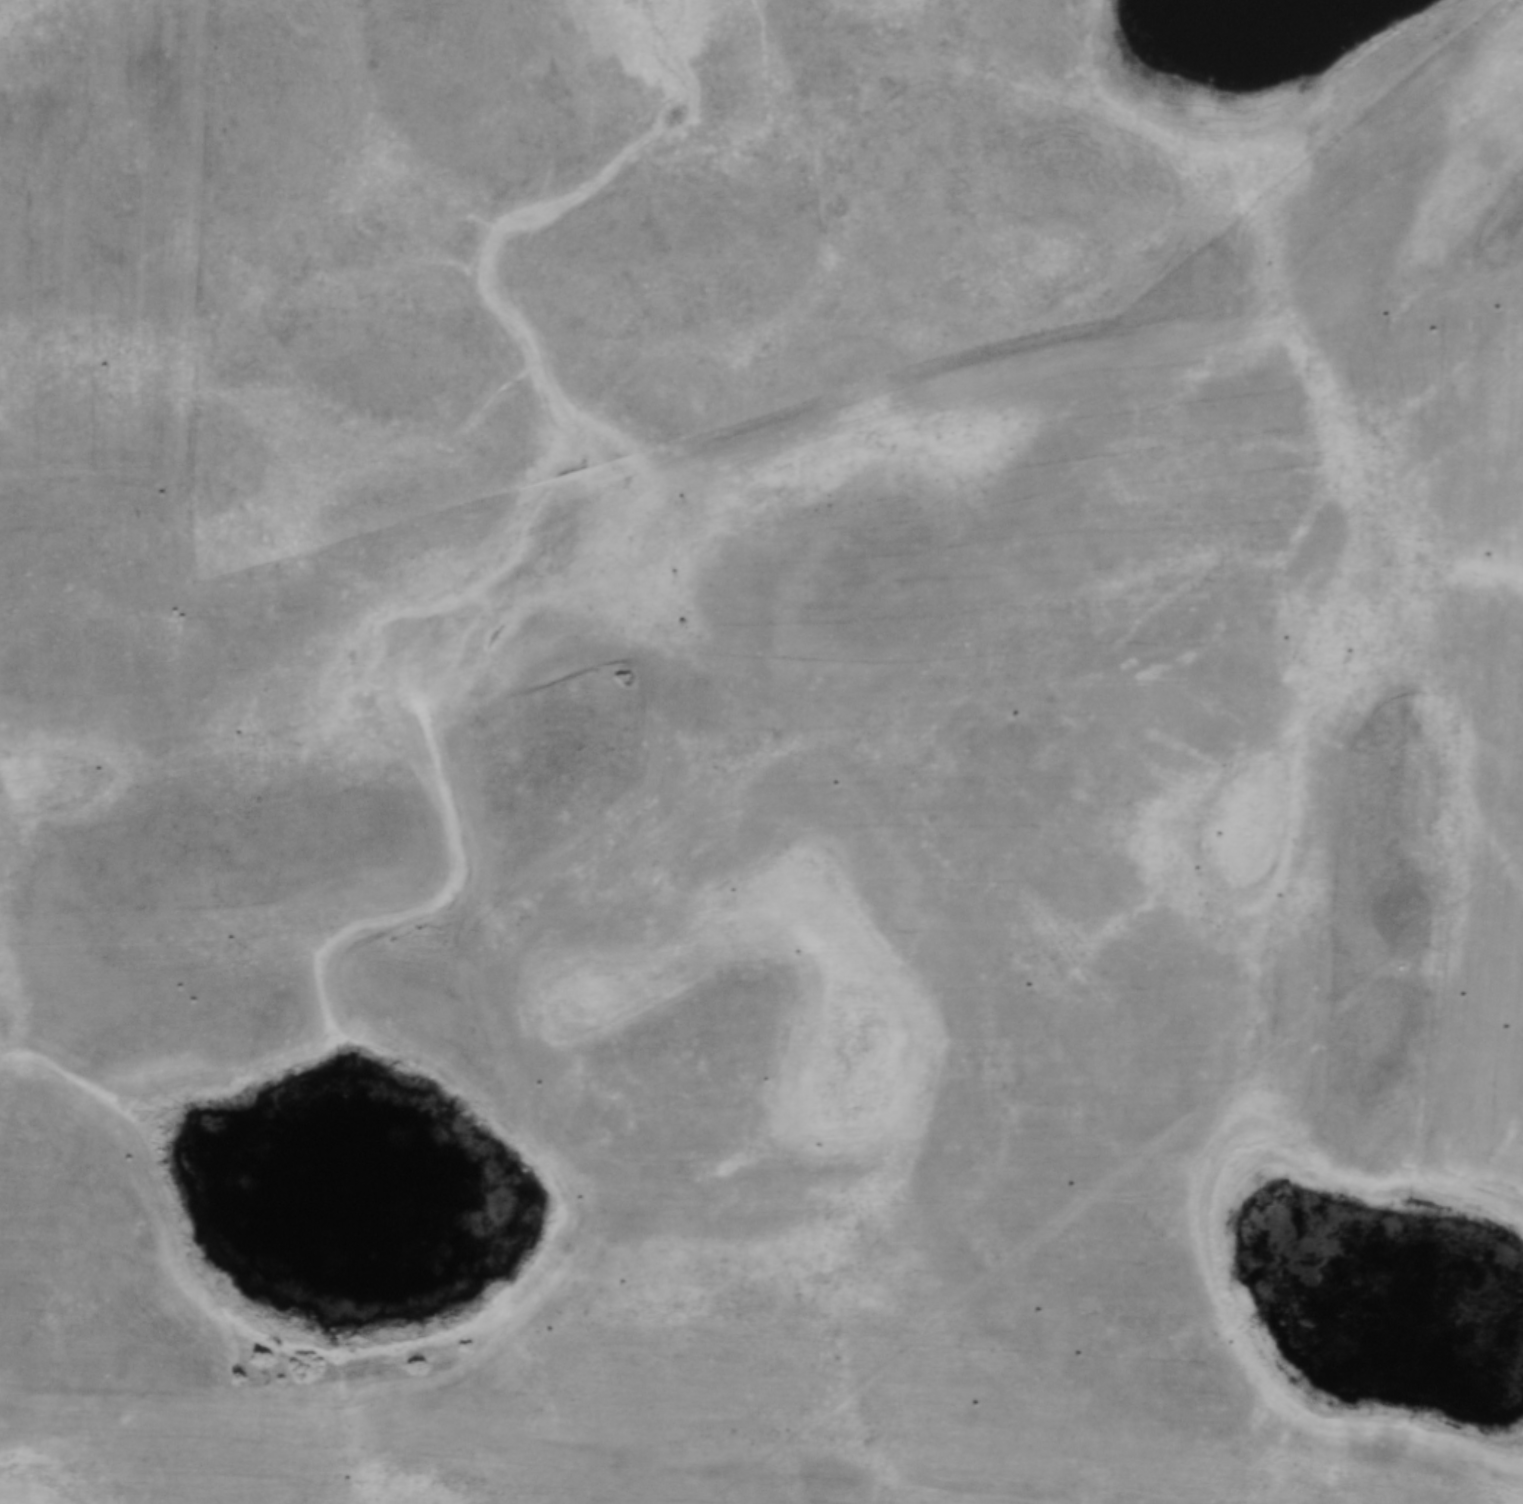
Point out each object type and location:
road: (1404, 284)

